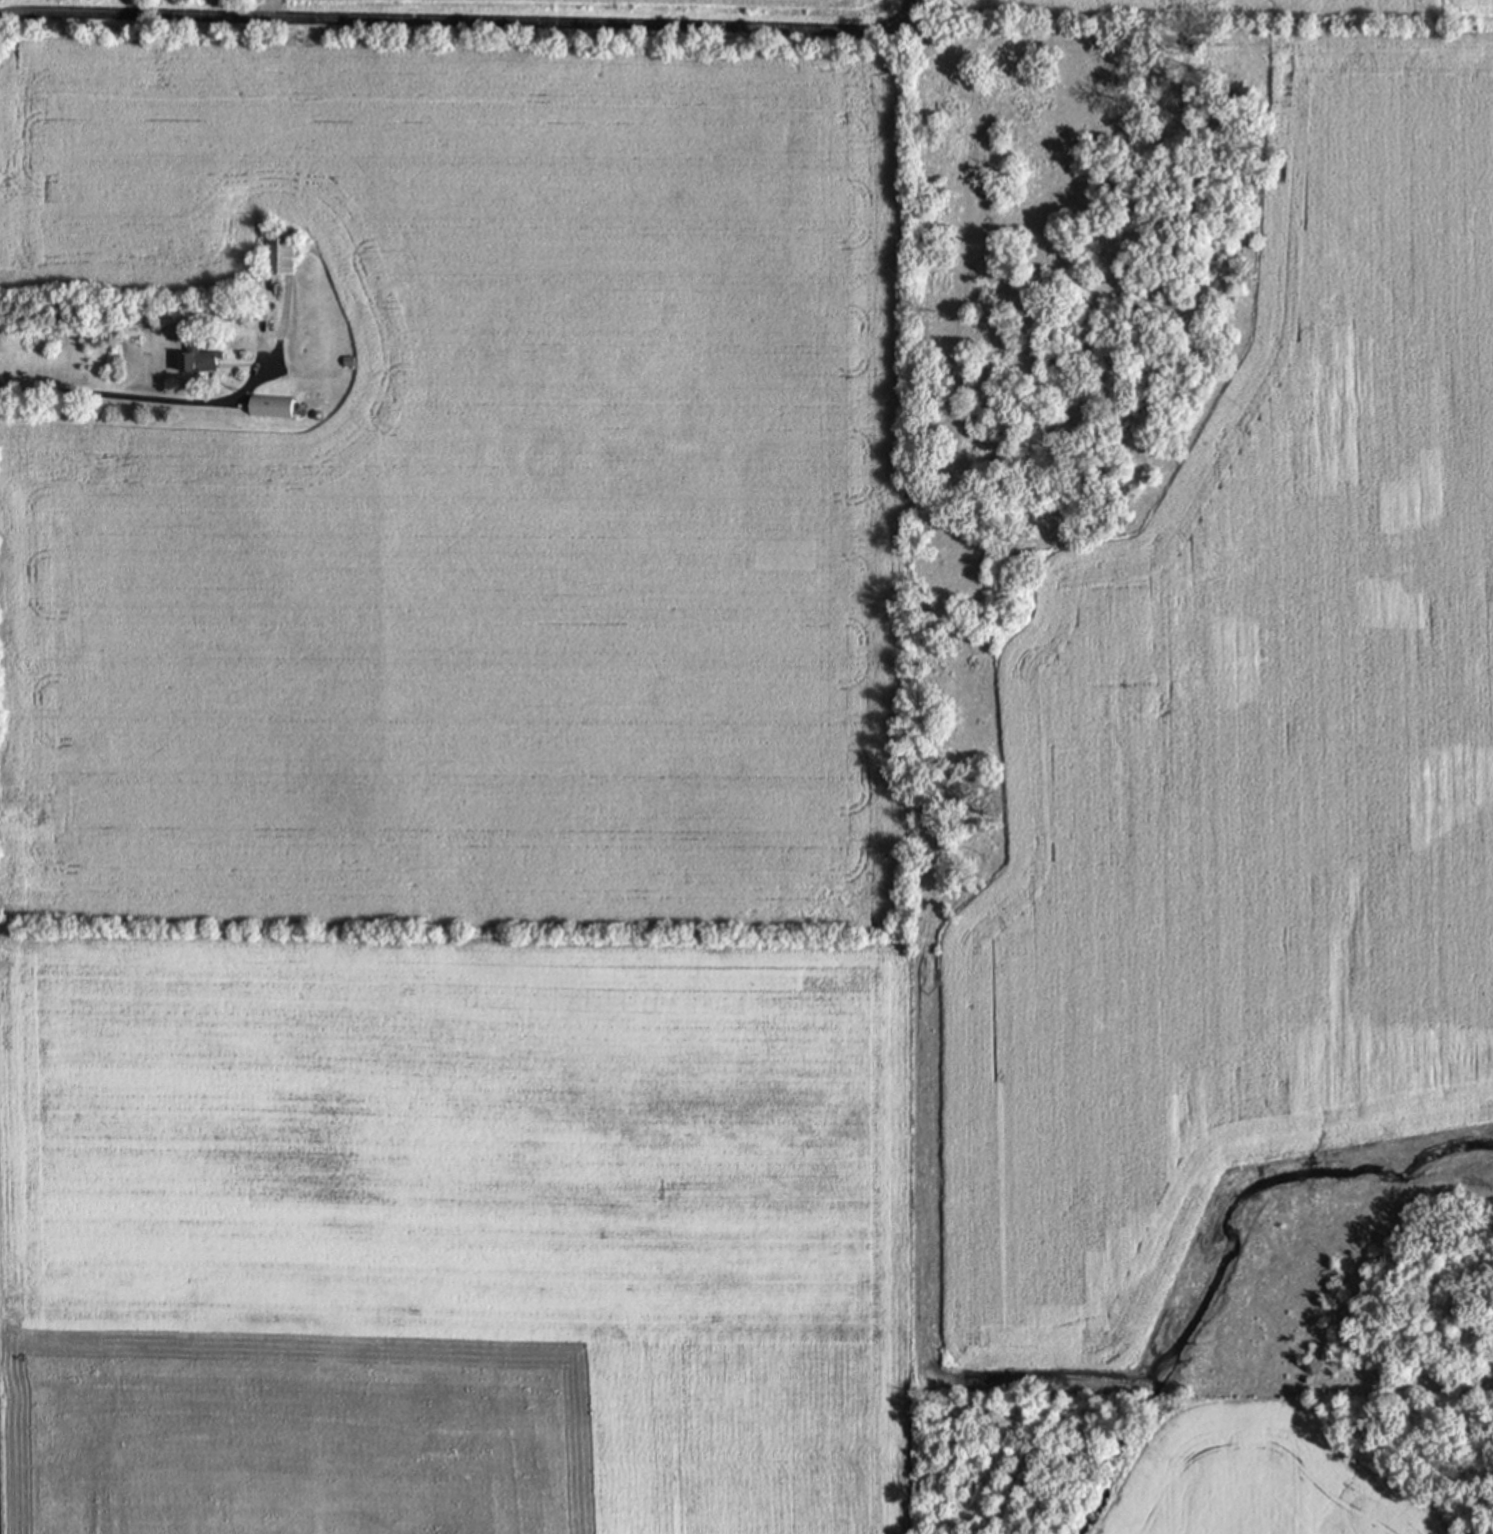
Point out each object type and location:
road: (269, 8)
road: (464, 21)
building: (275, 253)
building: (193, 361)
road: (142, 398)
building: (266, 406)

